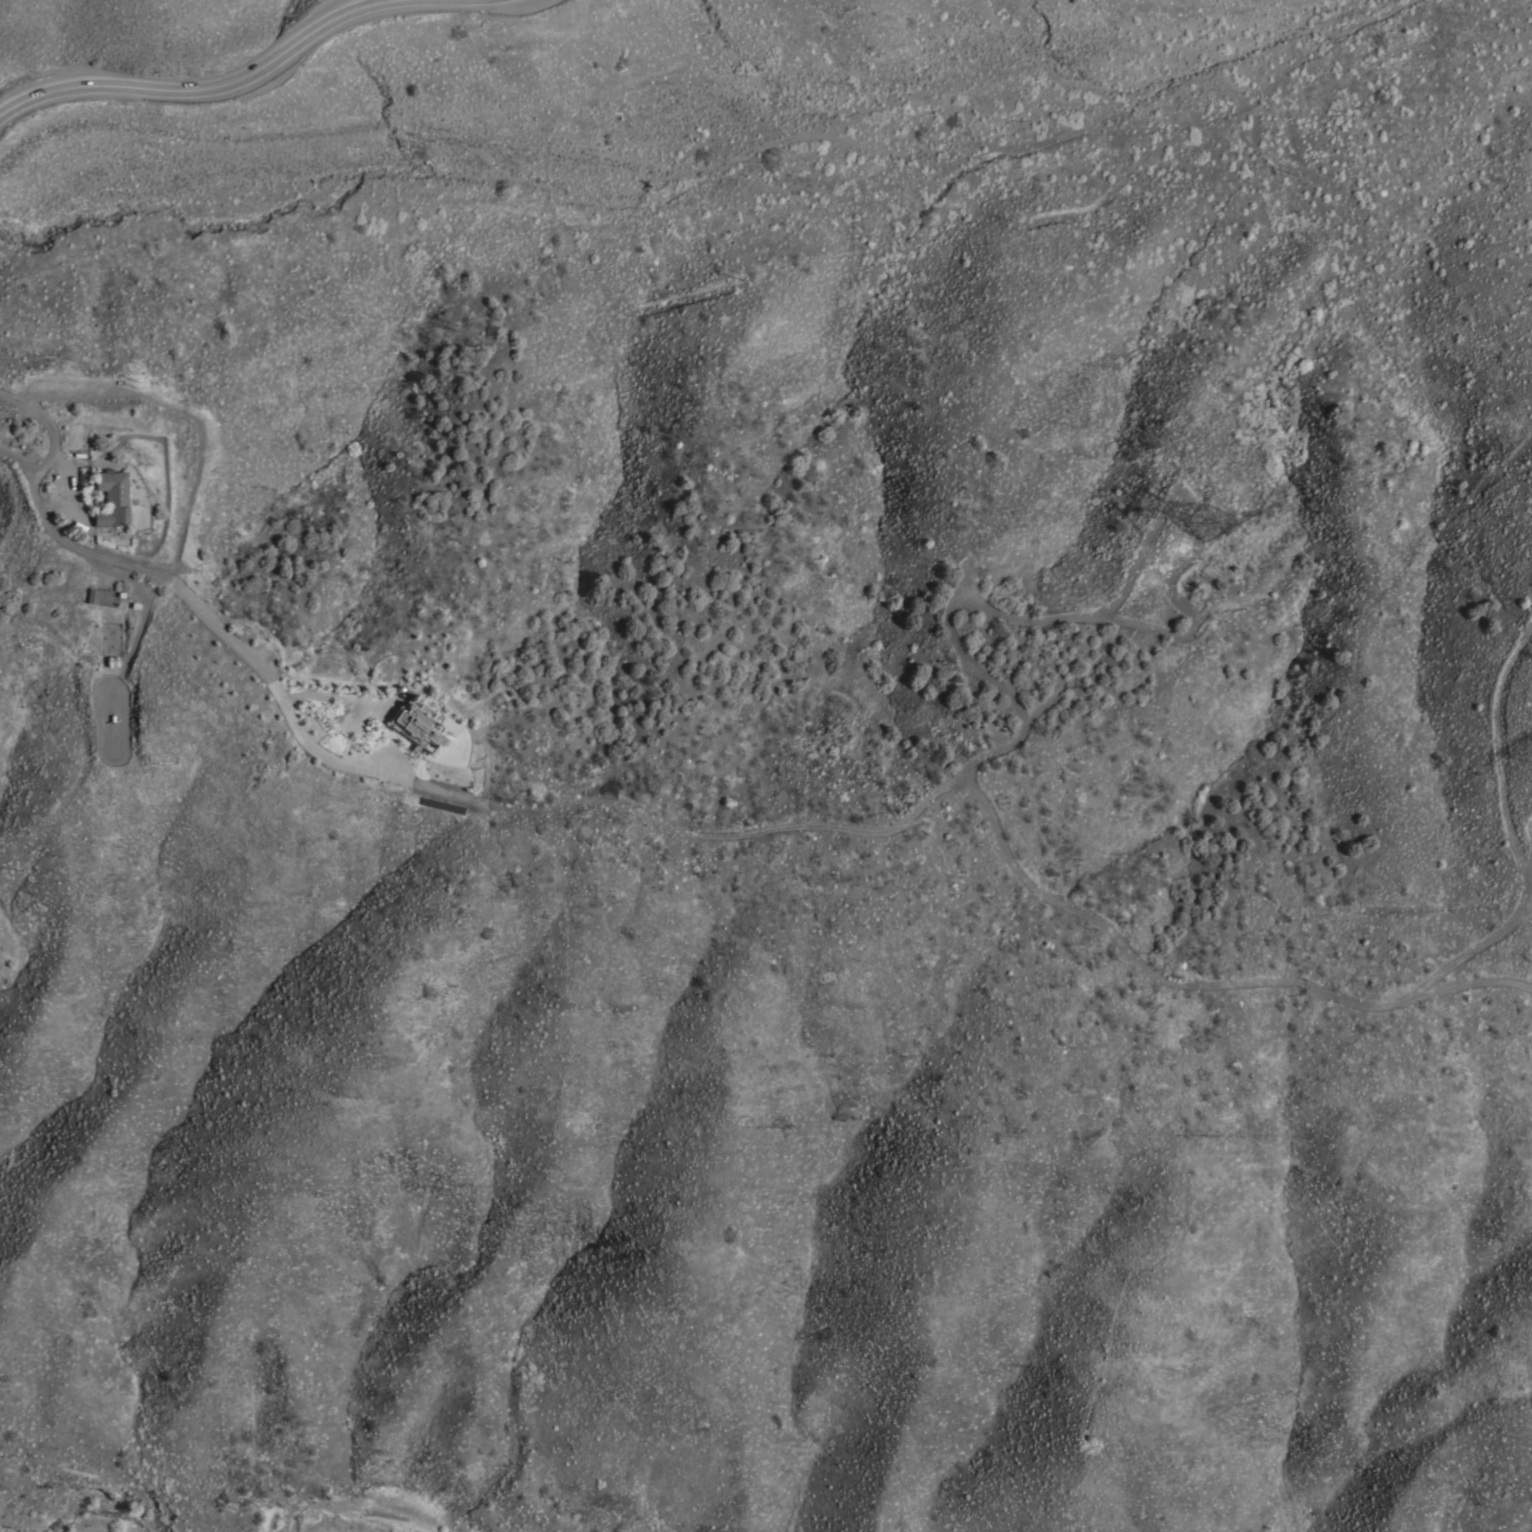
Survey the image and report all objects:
road: (208, 87)
road: (915, 158)
road: (43, 433)
building: (110, 497)
power tower: (1201, 522)
road: (330, 694)
building: (416, 725)
road: (763, 827)

